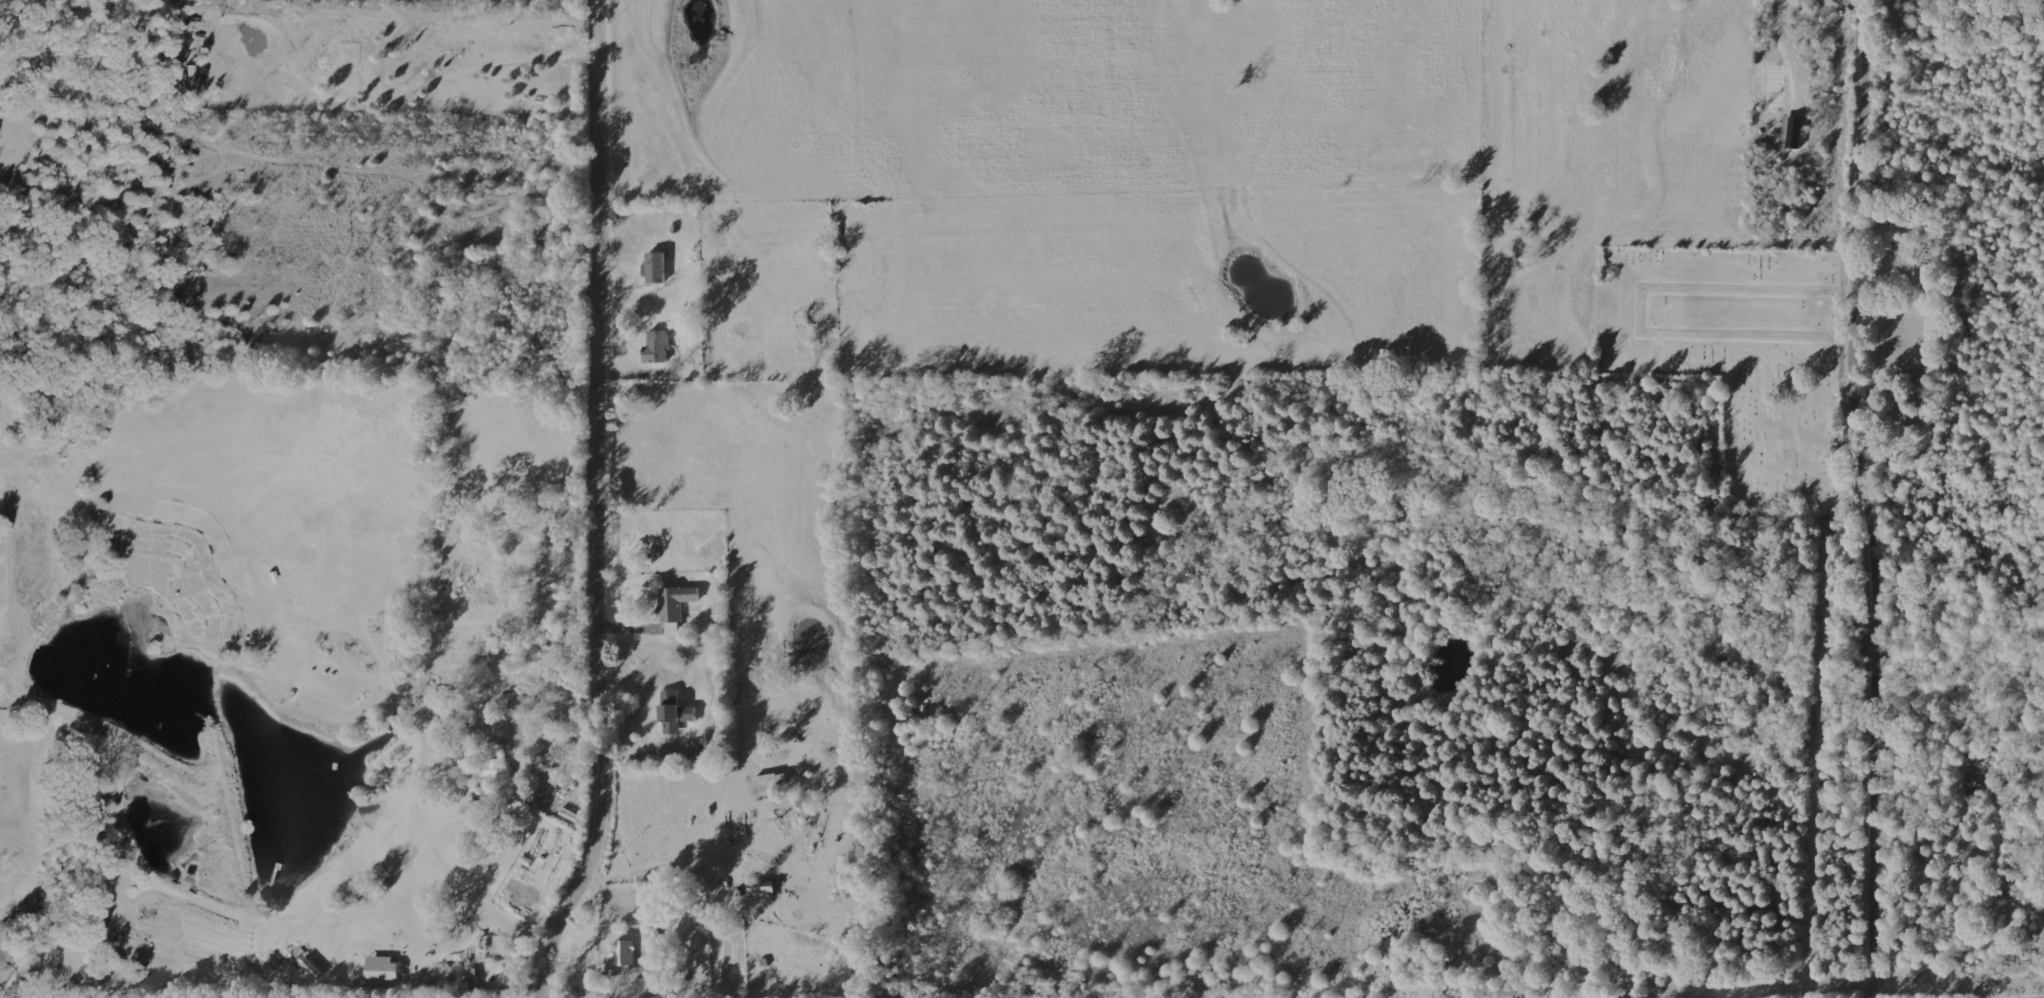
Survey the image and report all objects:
building: (655, 268)
building: (657, 347)
park: (1737, 362)
road: (1874, 498)
road: (594, 505)
building: (675, 607)
building: (675, 713)
building: (771, 783)
building: (763, 888)
building: (625, 956)
building: (383, 968)

